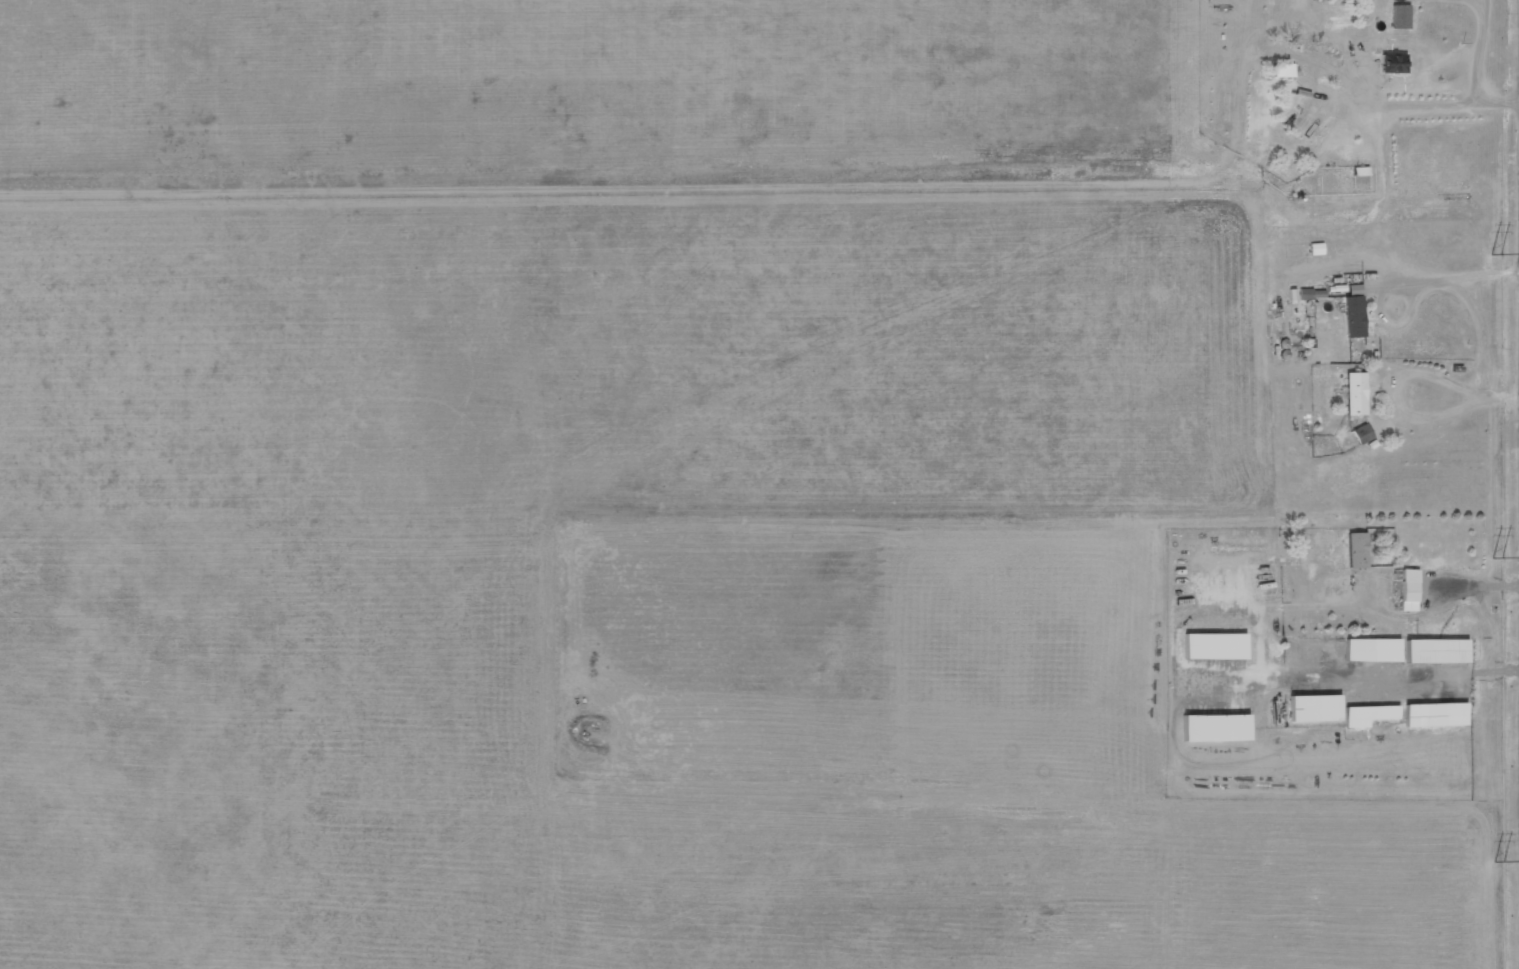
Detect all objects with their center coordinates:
building: (1399, 16)
power tower: (1495, 59)
building: (1392, 64)
building: (1310, 294)
building: (1353, 316)
power tower: (1496, 371)
building: (1355, 394)
building: (1361, 433)
building: (1356, 550)
building: (1408, 590)
building: (1214, 646)
building: (1371, 650)
building: (1435, 651)
power tower: (1497, 683)
building: (1314, 708)
building: (1367, 715)
building: (1434, 715)

